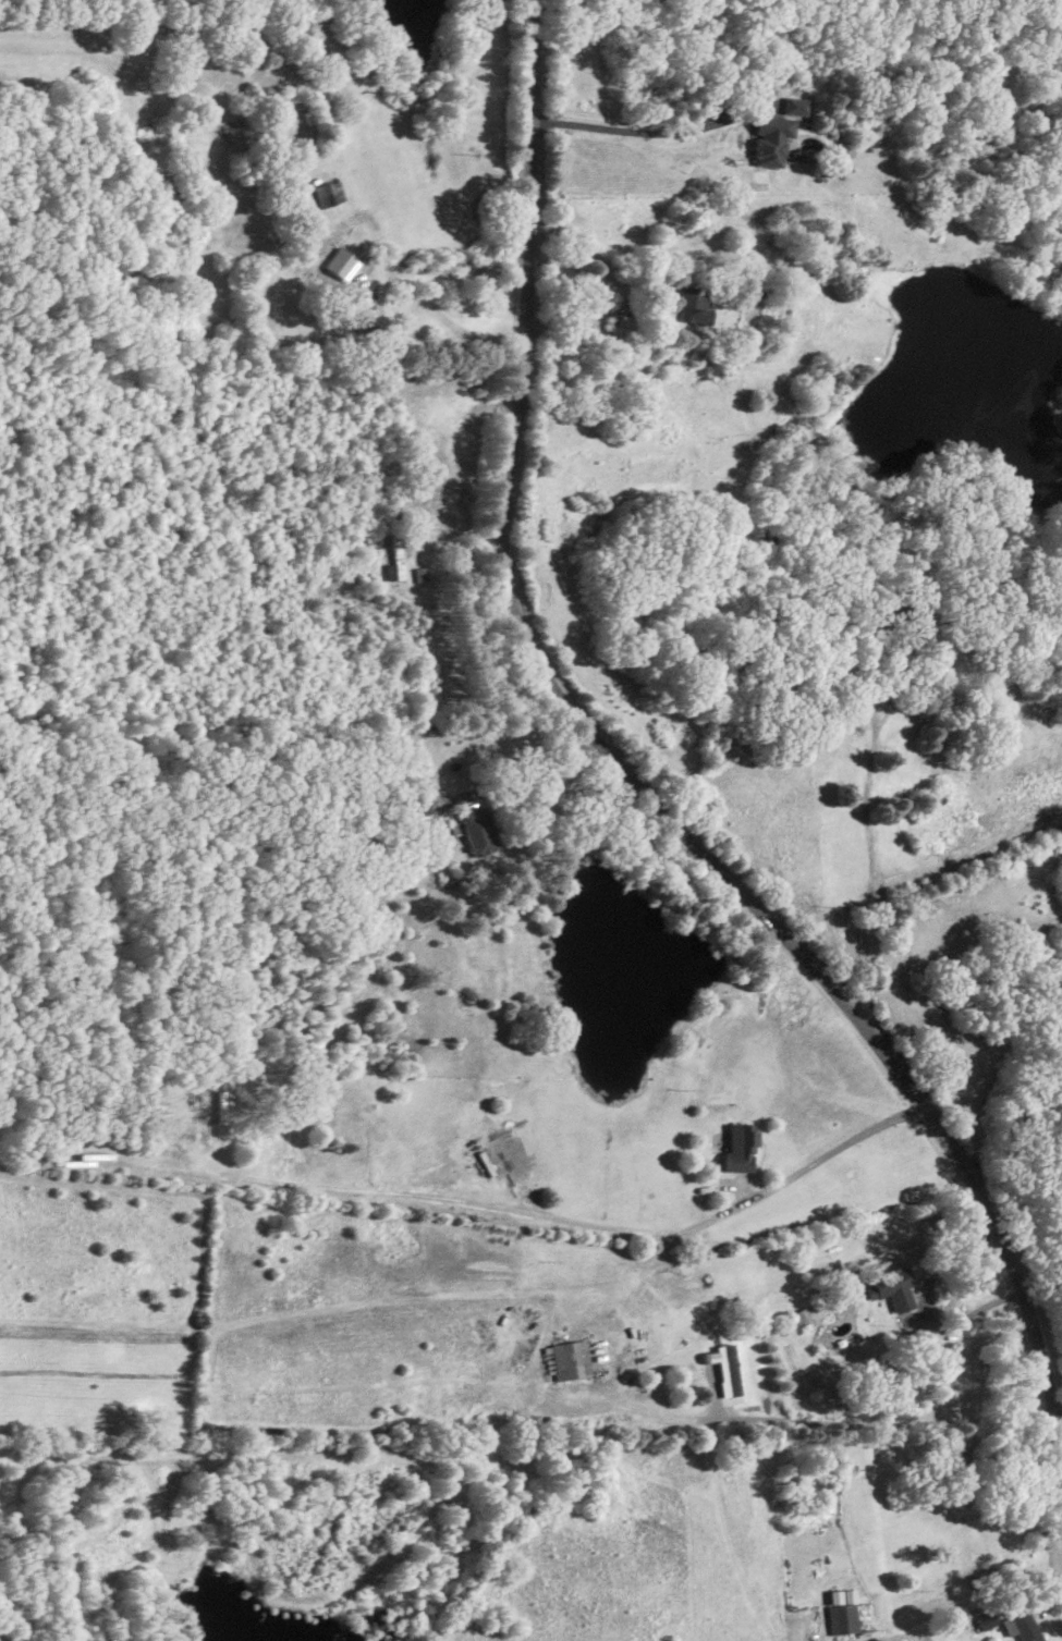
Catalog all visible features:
building: (794, 105)
road: (636, 126)
building: (770, 139)
road: (454, 140)
building: (327, 193)
road: (587, 254)
building: (341, 264)
building: (688, 305)
building: (364, 315)
building: (398, 556)
road: (630, 742)
road: (870, 748)
road: (532, 769)
building: (478, 830)
road: (1014, 1028)
building: (738, 1149)
road: (581, 1215)
building: (894, 1288)
building: (566, 1359)
building: (724, 1368)
road: (833, 1422)
building: (840, 1614)
building: (986, 1619)
building: (1021, 1625)

